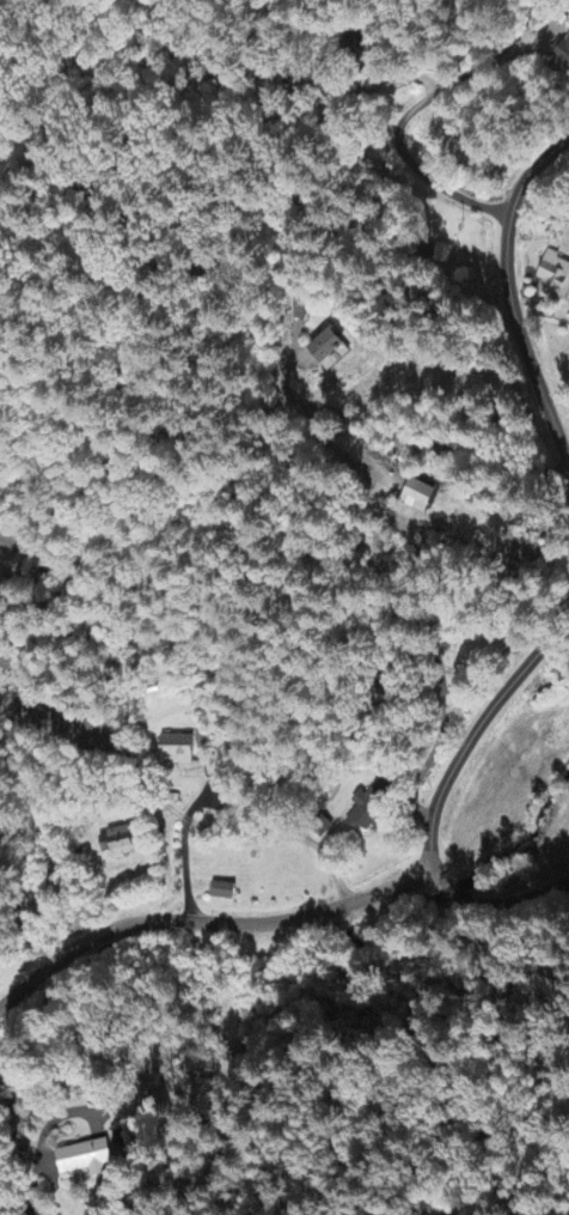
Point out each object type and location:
building: (562, 60)
road: (410, 111)
building: (555, 279)
road: (513, 296)
building: (319, 347)
road: (476, 730)
building: (182, 751)
road: (145, 804)
building: (367, 814)
building: (123, 844)
building: (226, 893)
road: (282, 918)
building: (88, 1160)

